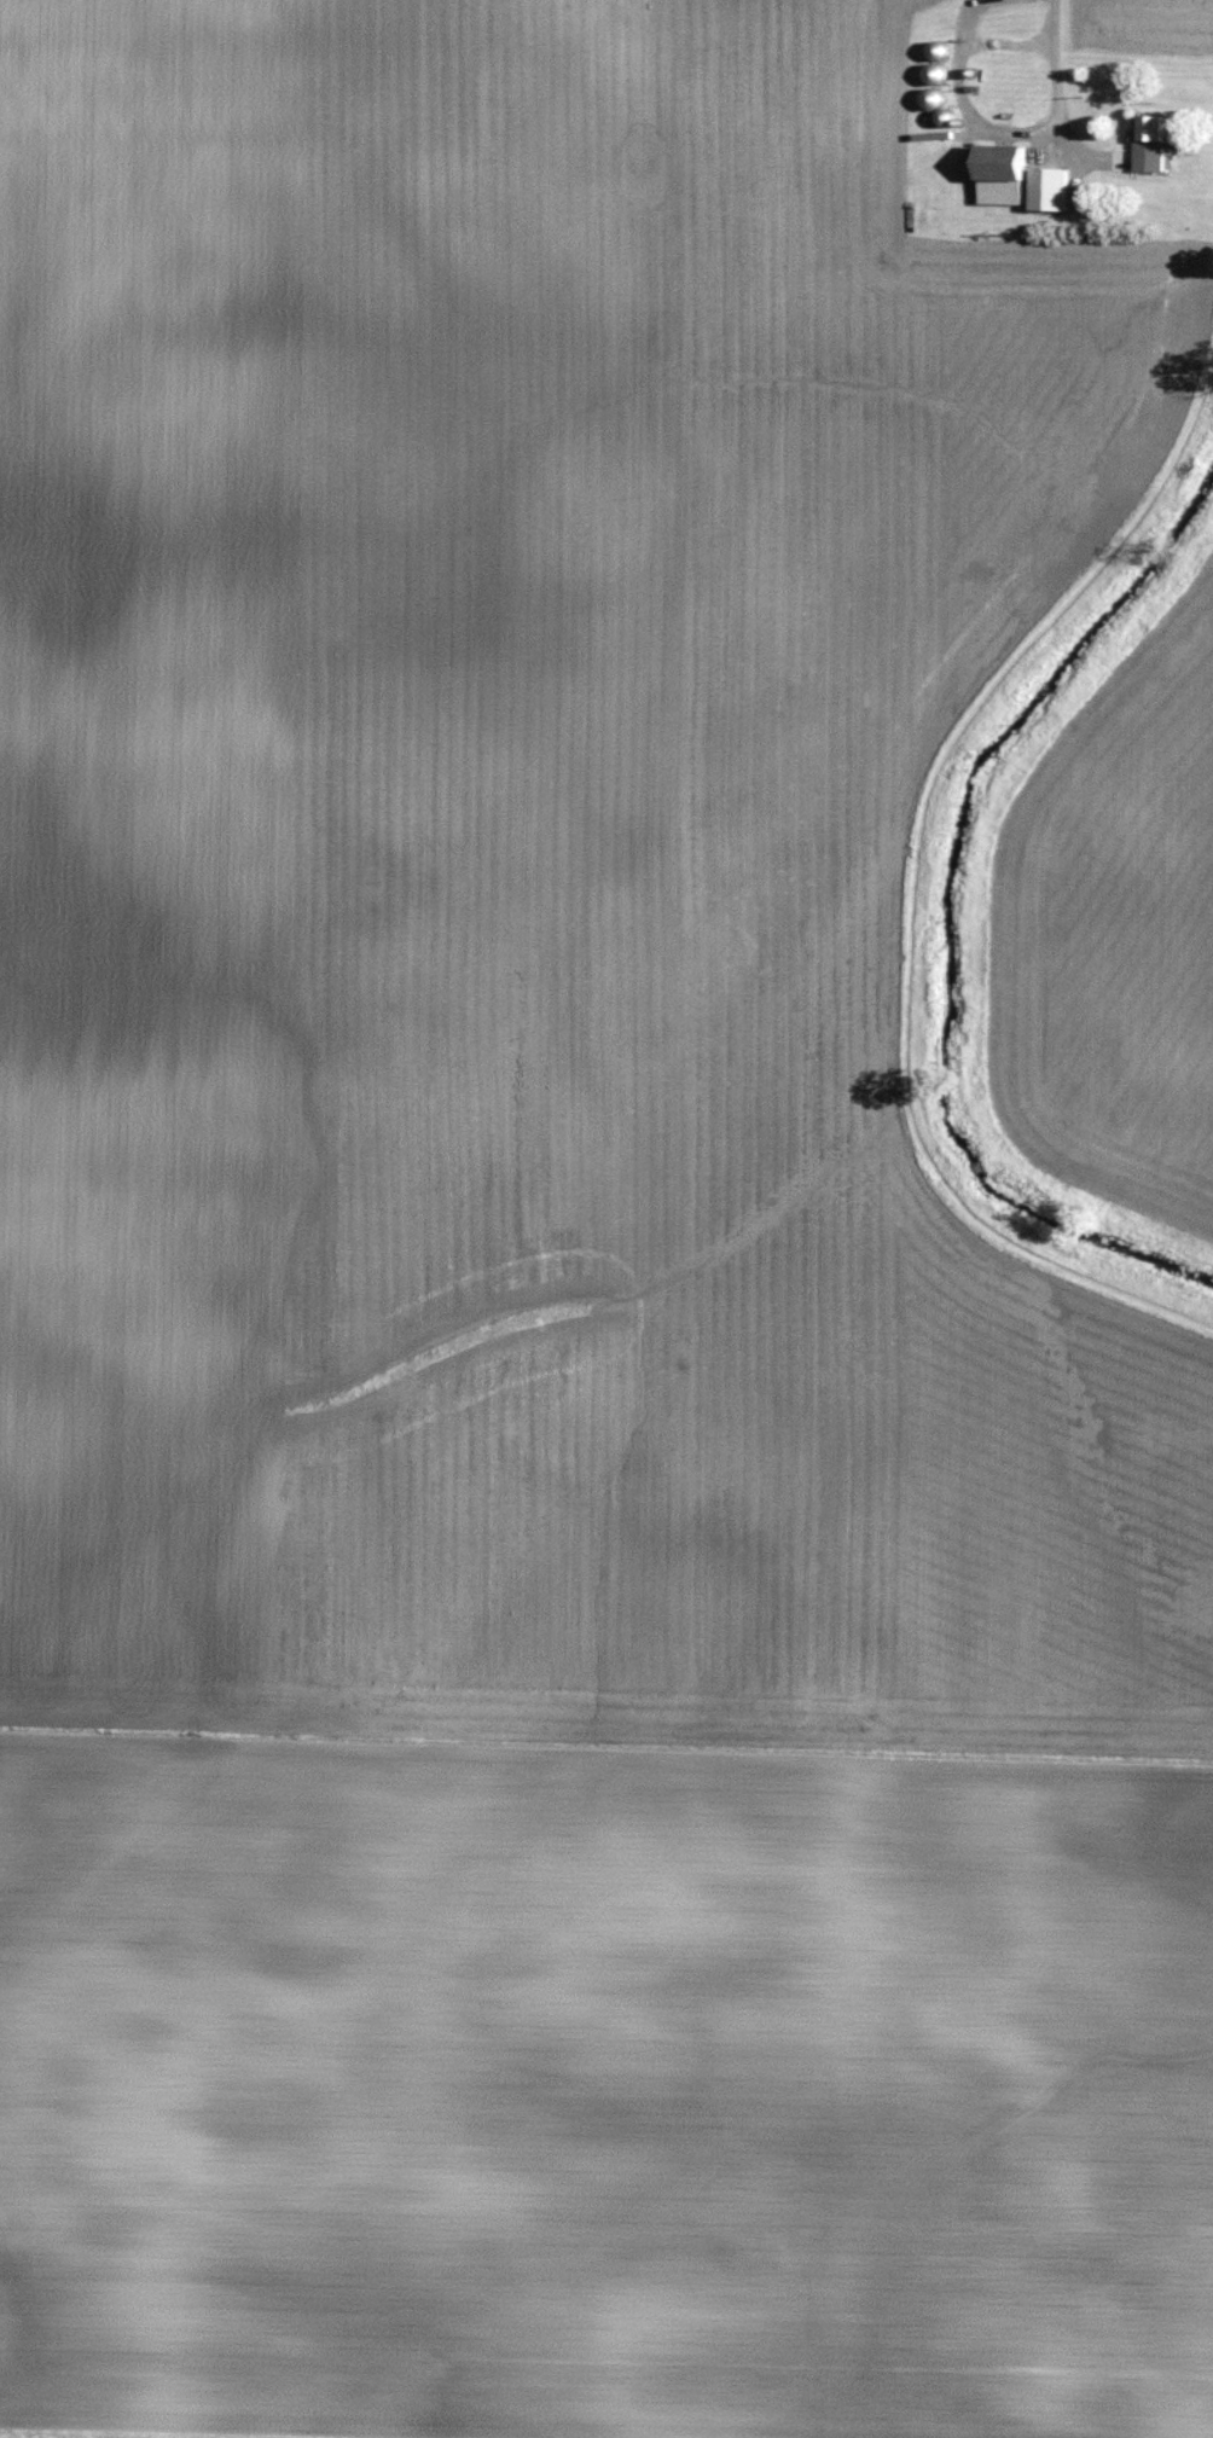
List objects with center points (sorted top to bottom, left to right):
road: (1060, 79)
building: (1153, 141)
building: (1022, 178)

